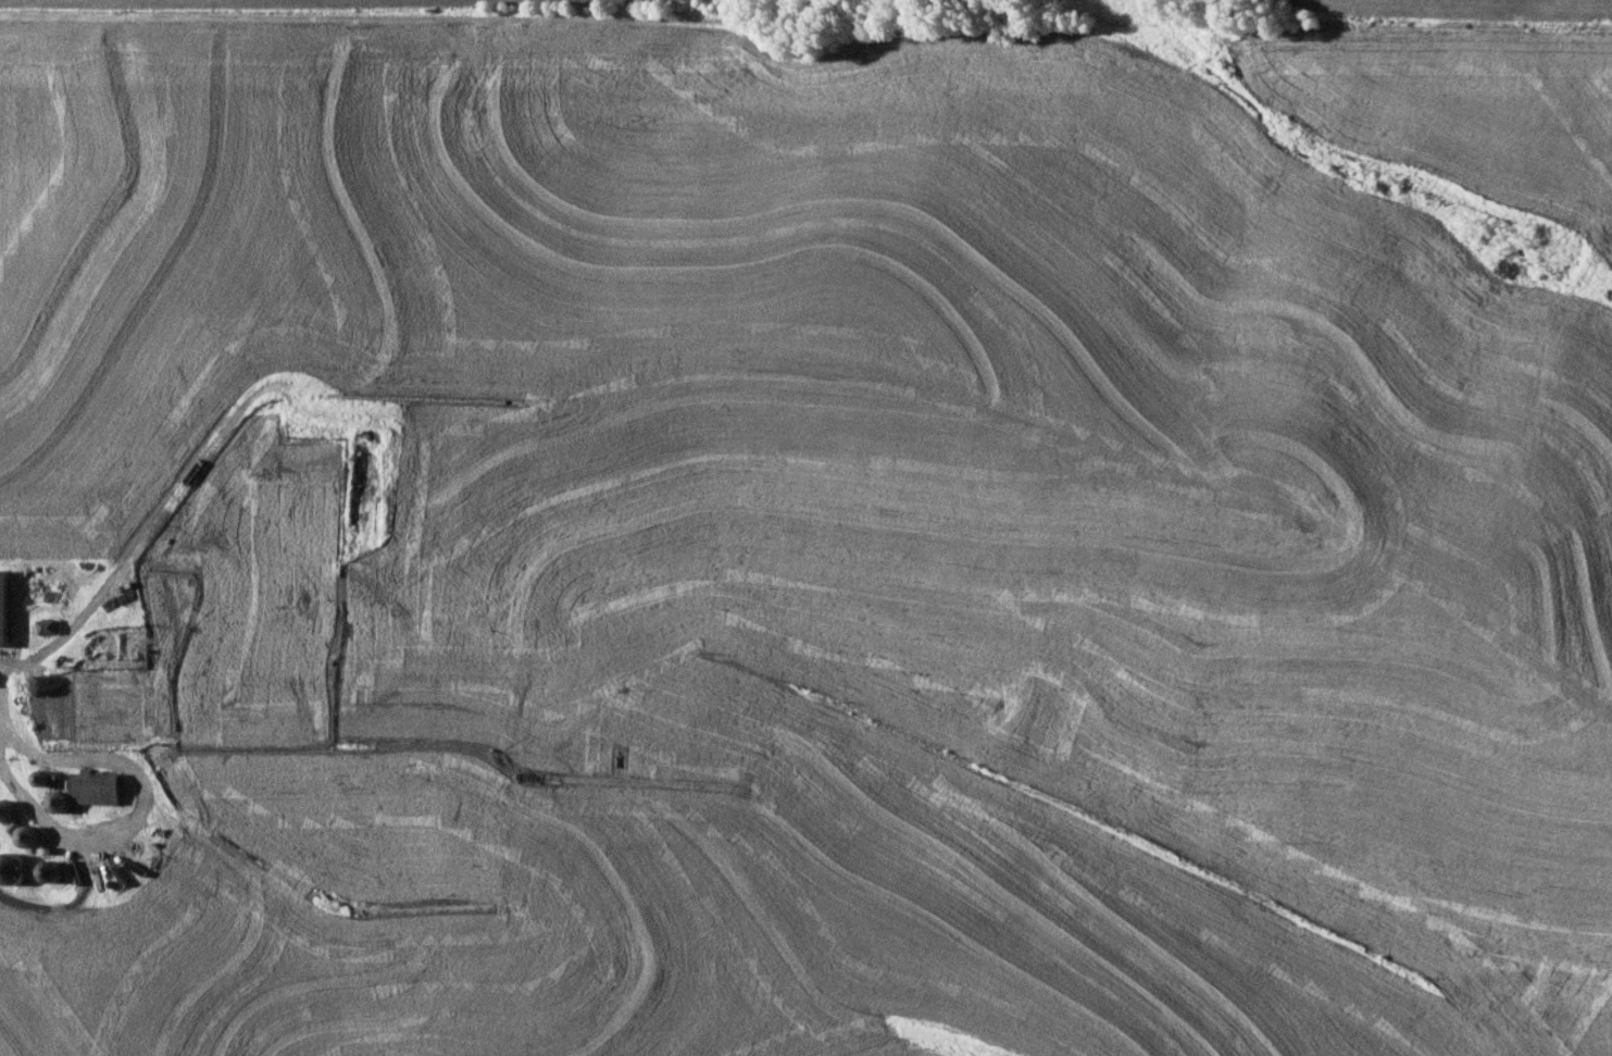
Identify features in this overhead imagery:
building: (3, 606)
building: (40, 777)
building: (58, 798)
building: (5, 808)
building: (27, 833)
building: (50, 869)

